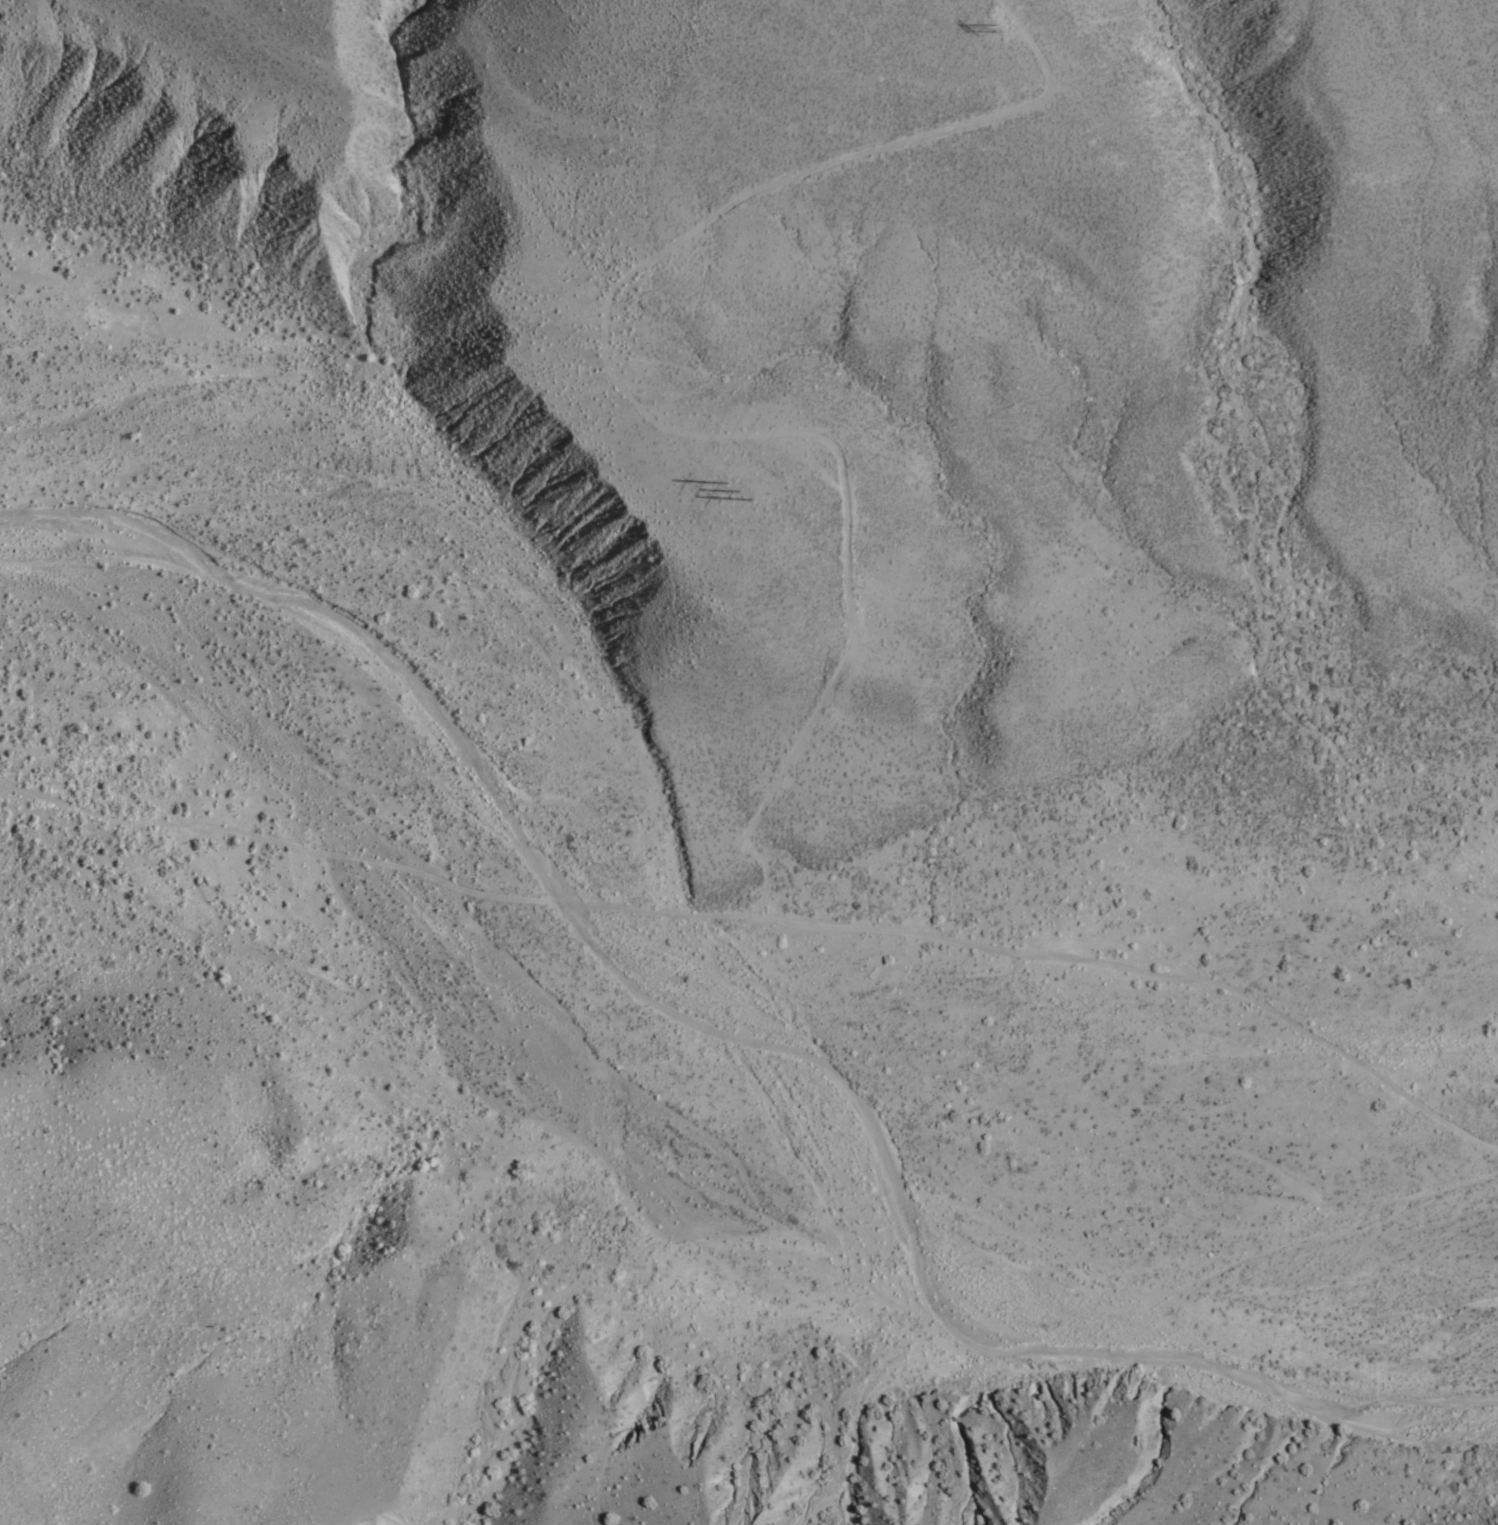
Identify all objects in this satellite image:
power tower: (996, 26)
road: (631, 406)
power tower: (730, 492)
road: (765, 921)

